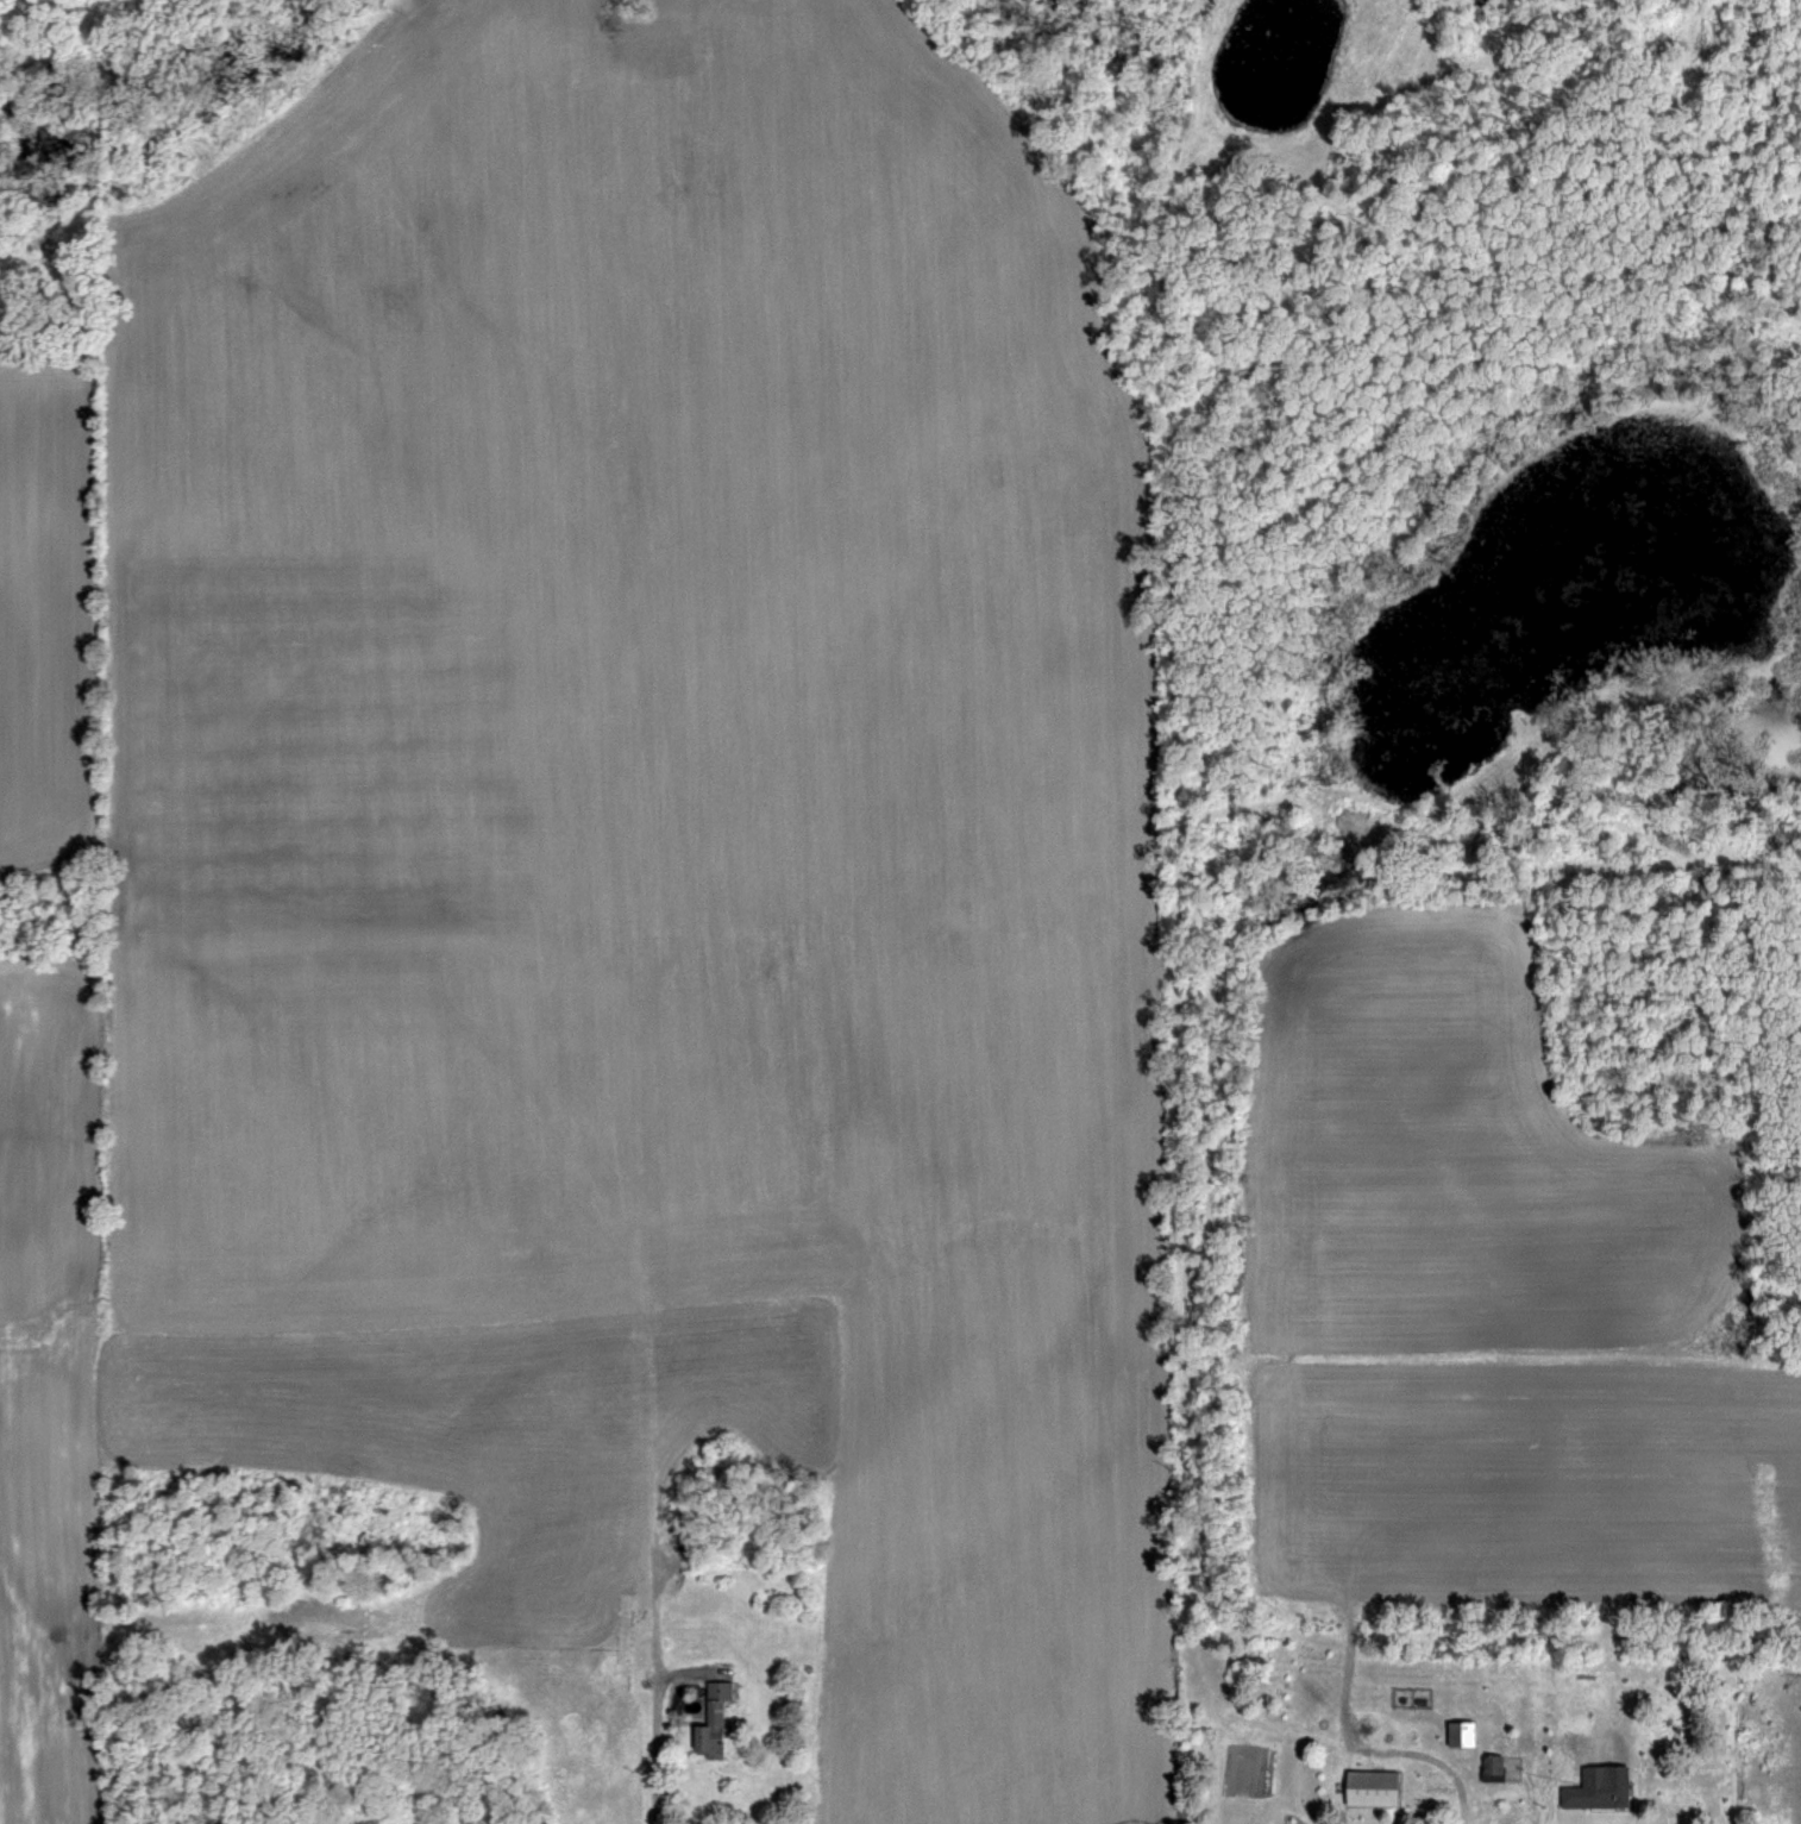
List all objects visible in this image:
crop: (900, 911)
building: (564, 1636)
building: (651, 1655)
building: (711, 1701)
road: (654, 1729)
building: (1455, 1732)
building: (1498, 1765)
road: (1455, 1774)
building: (1367, 1784)
building: (1587, 1791)

